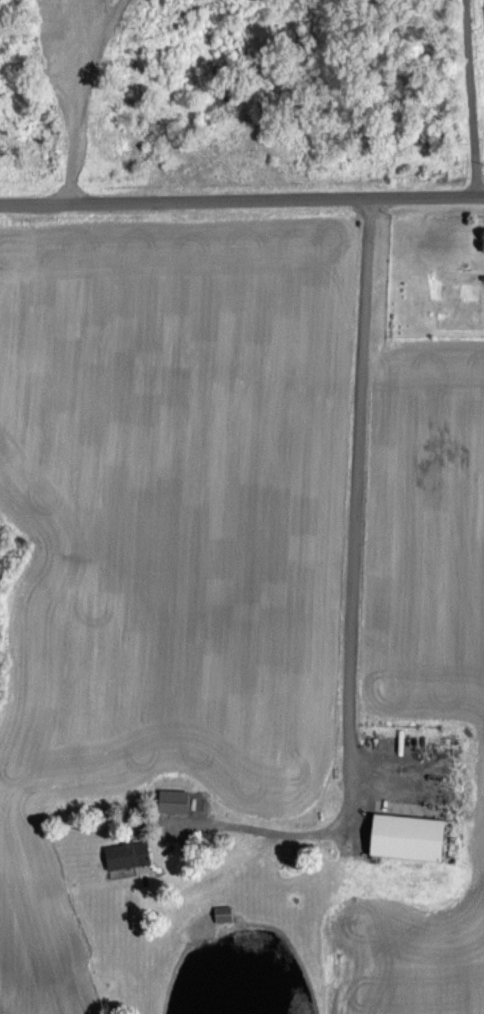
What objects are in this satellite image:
road: (242, 201)
road: (351, 593)
building: (172, 801)
building: (406, 837)
building: (126, 855)
building: (222, 915)

